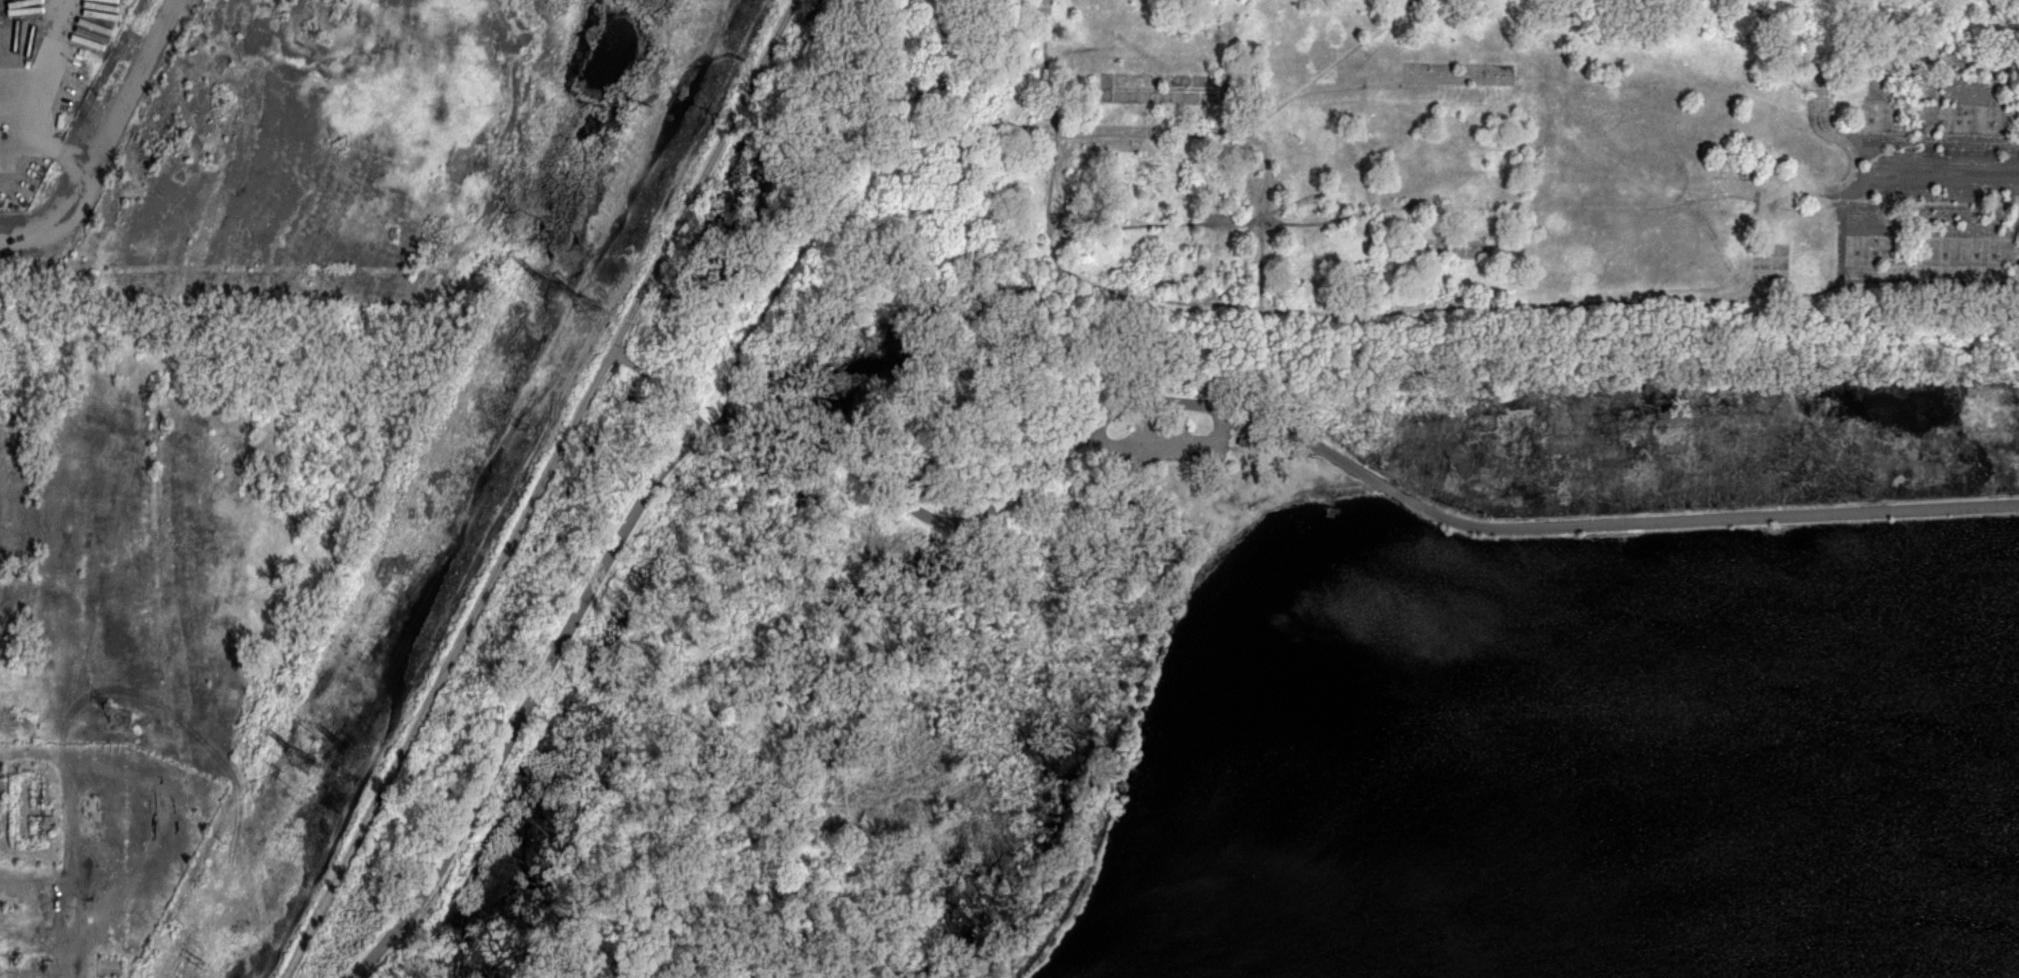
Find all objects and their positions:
road: (1325, 64)
road: (1237, 133)
road: (106, 137)
road: (895, 149)
road: (704, 175)
road: (1258, 270)
power tower: (546, 286)
power tower: (585, 308)
road: (1365, 309)
road: (665, 385)
building: (1244, 439)
parking lot: (1170, 441)
road: (1168, 443)
road: (986, 514)
road: (1607, 520)
park: (1223, 657)
road: (451, 665)
road: (534, 690)
power tower: (121, 719)
power tower: (366, 721)
power tower: (308, 730)
power tower: (352, 754)
power tower: (303, 763)
power tower: (288, 783)

